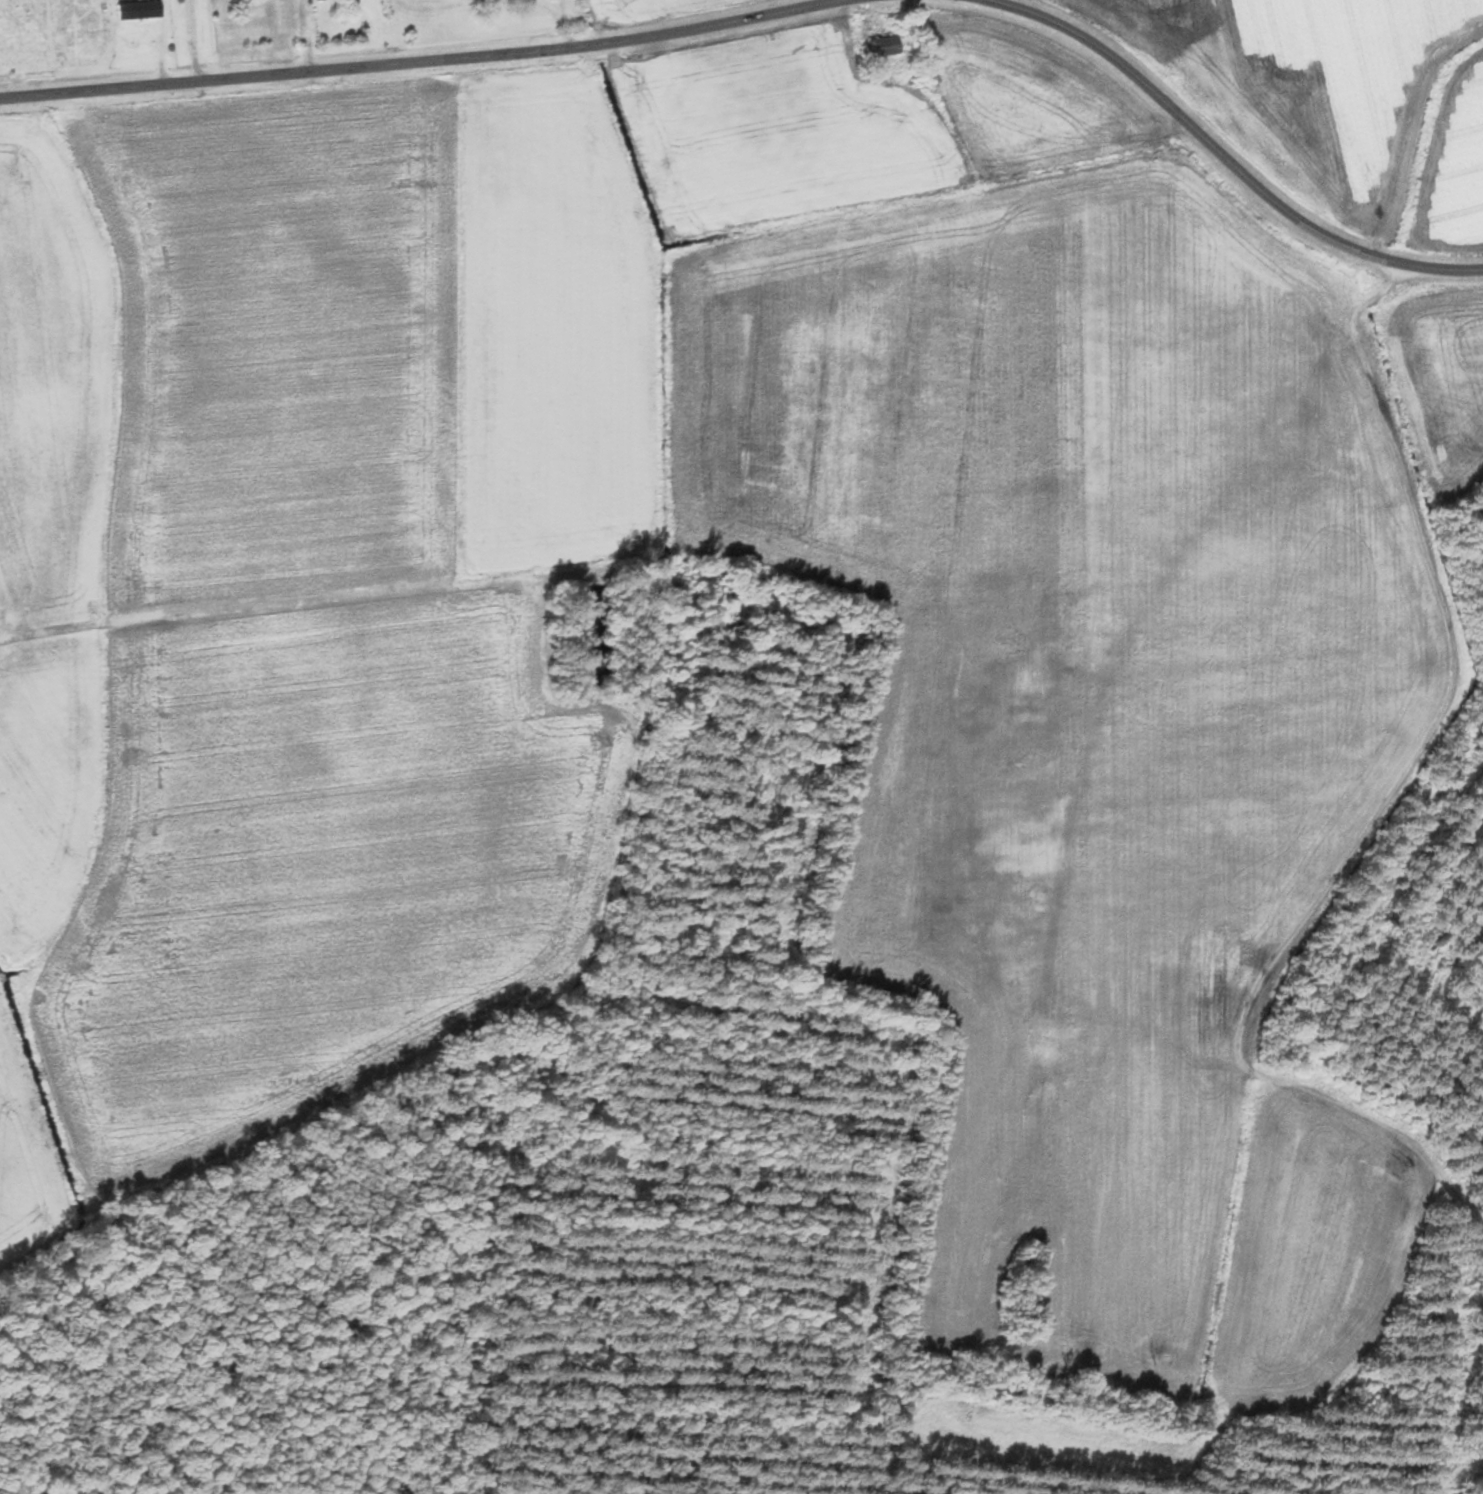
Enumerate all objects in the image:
building: (139, 11)
building: (885, 47)
road: (427, 59)
road: (1224, 160)

